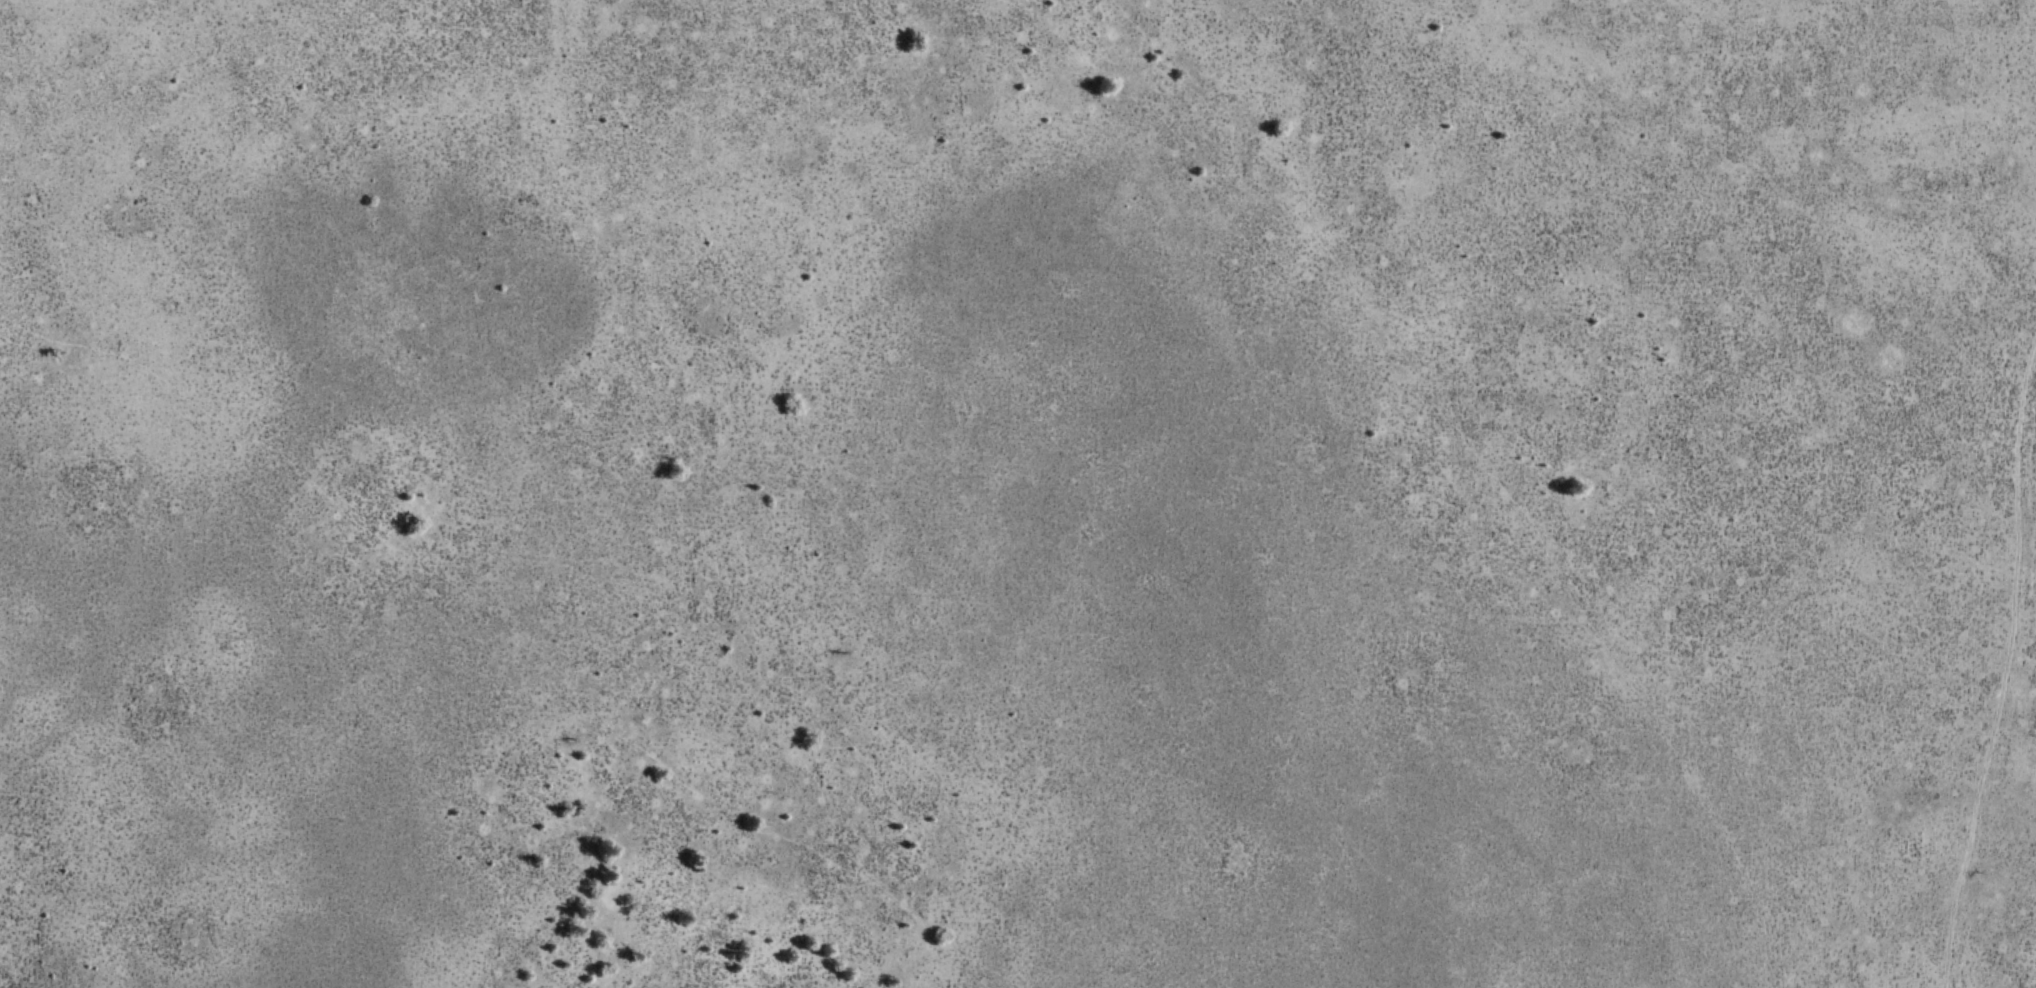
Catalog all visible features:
road: (2009, 669)

